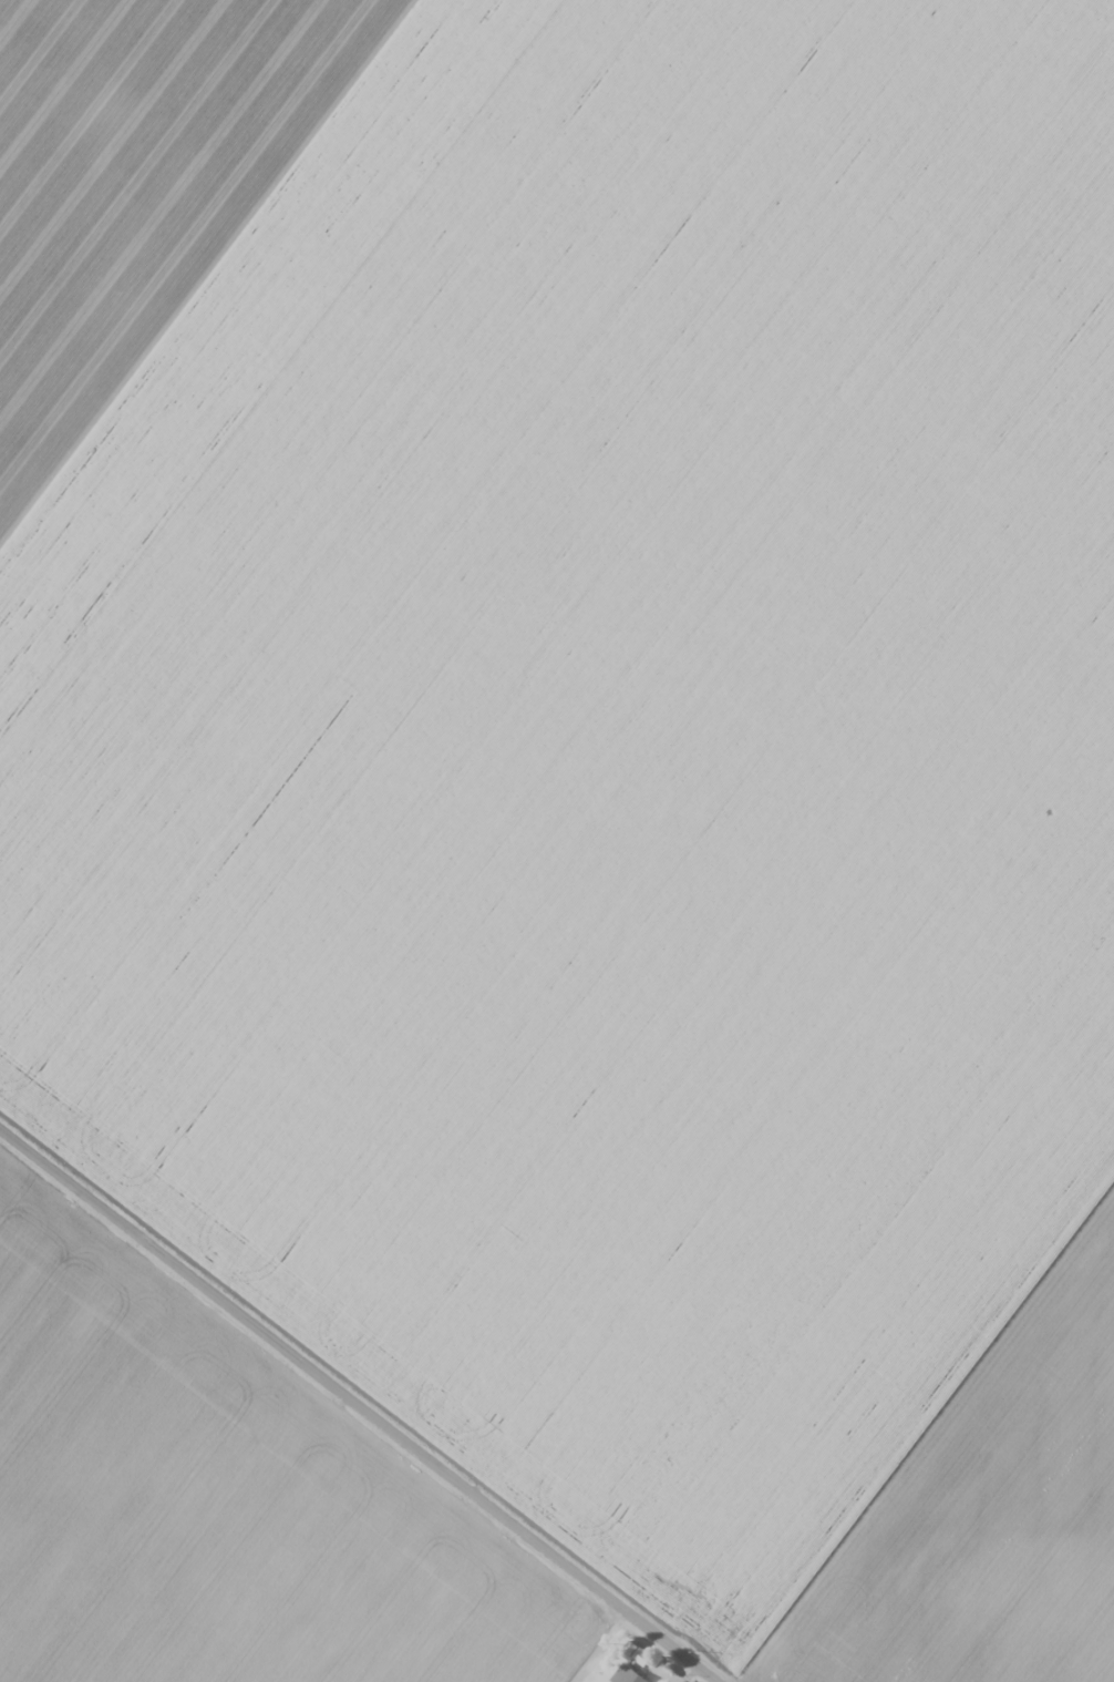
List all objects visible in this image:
road: (352, 1411)
building: (637, 1653)
building: (628, 1675)

